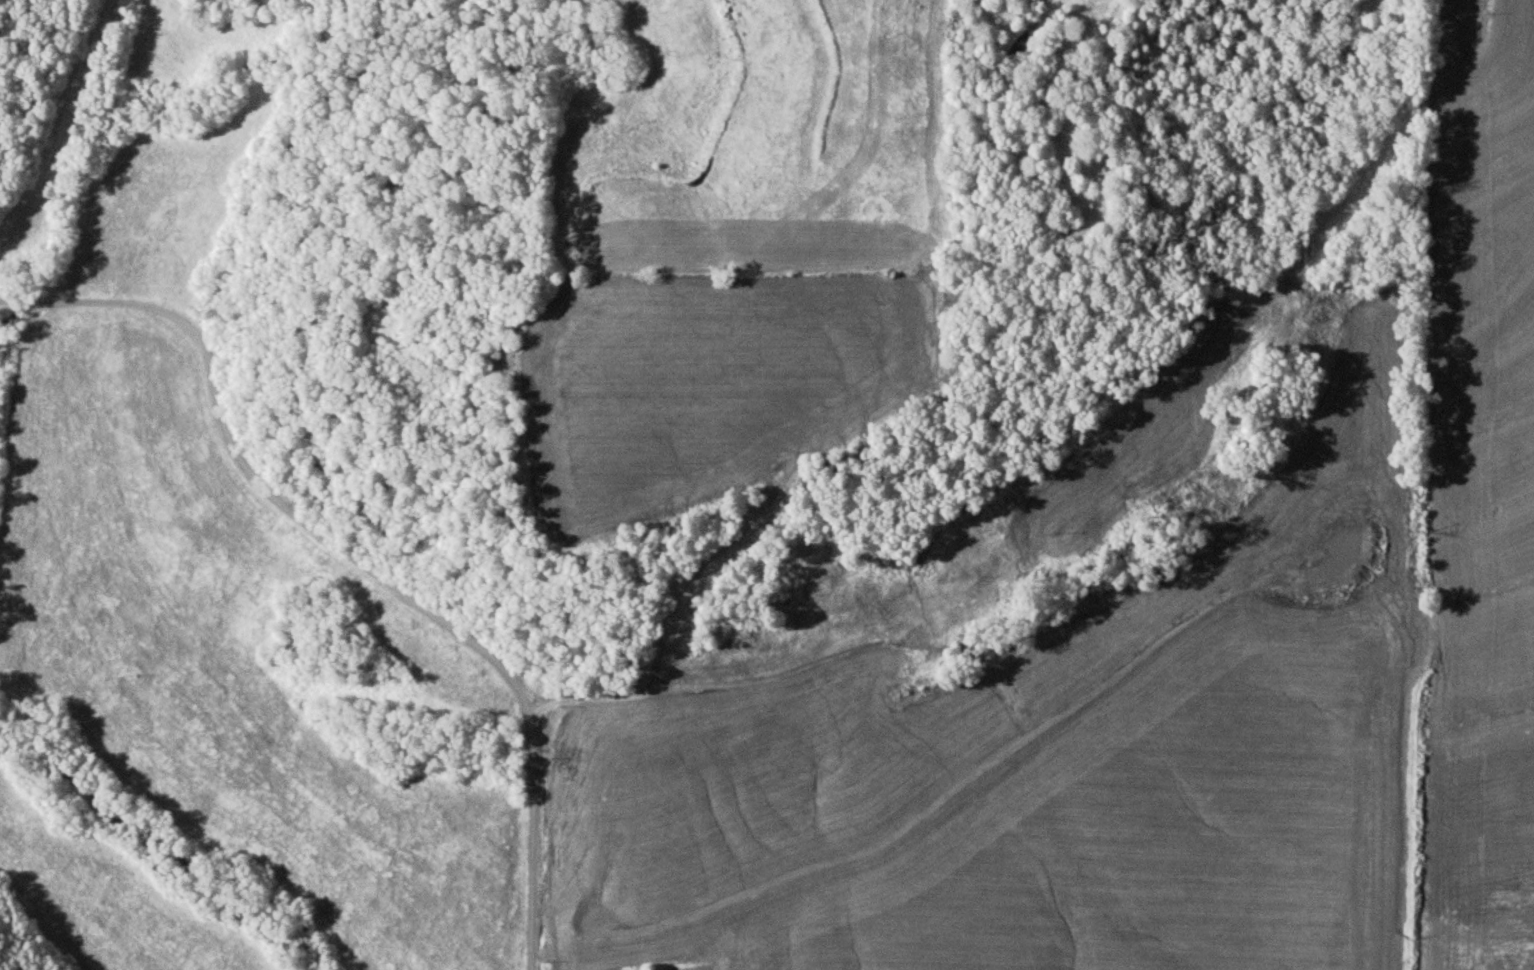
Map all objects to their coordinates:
road: (354, 555)

